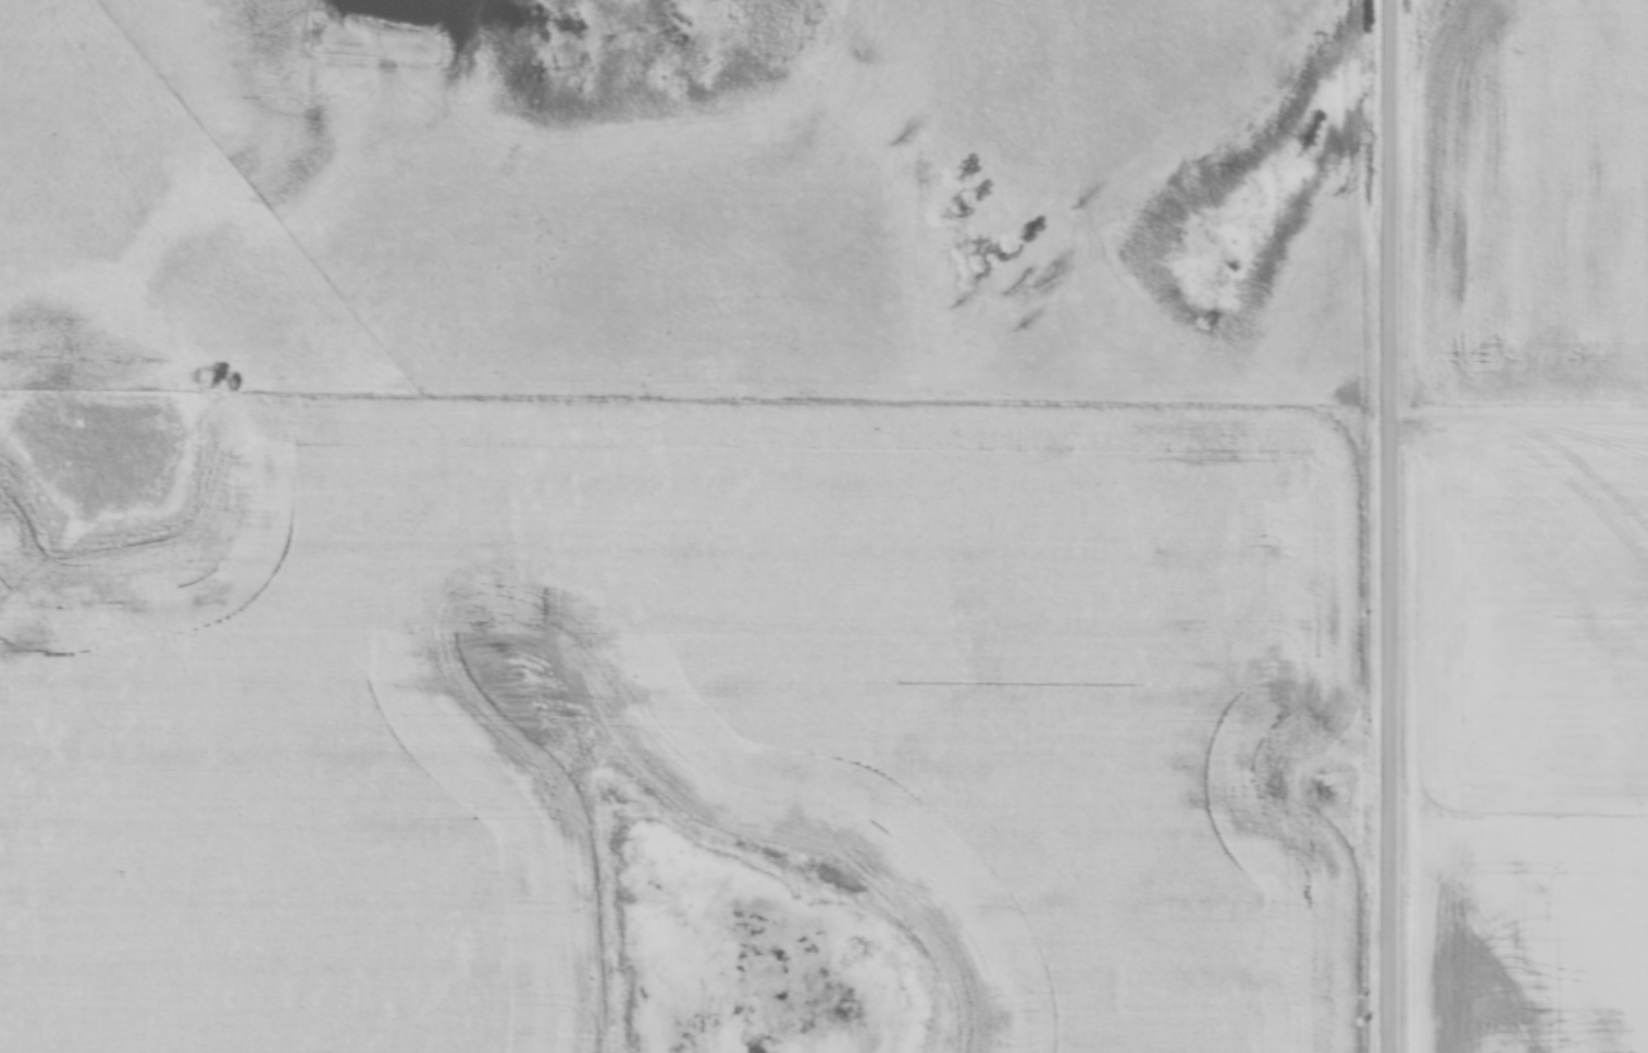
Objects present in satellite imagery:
road: (1395, 526)

